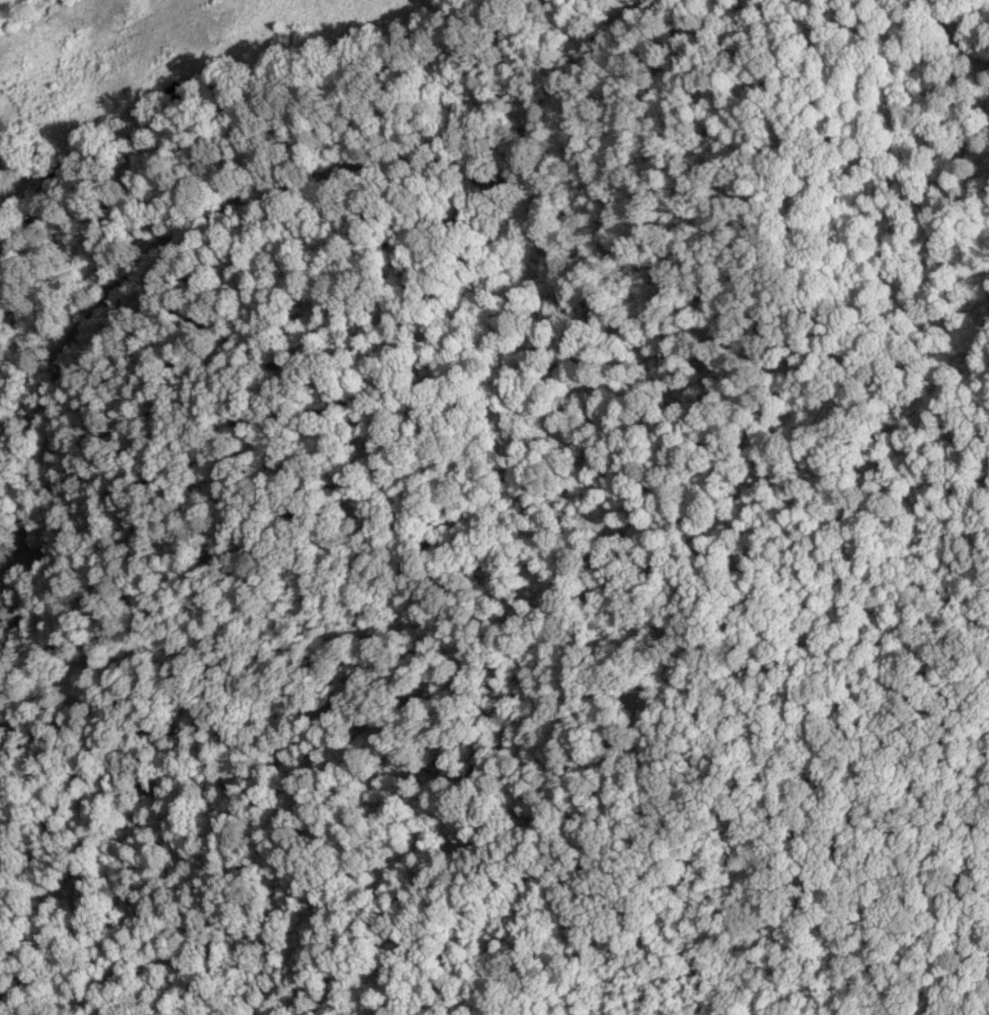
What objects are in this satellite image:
road: (958, 22)
road: (183, 202)

